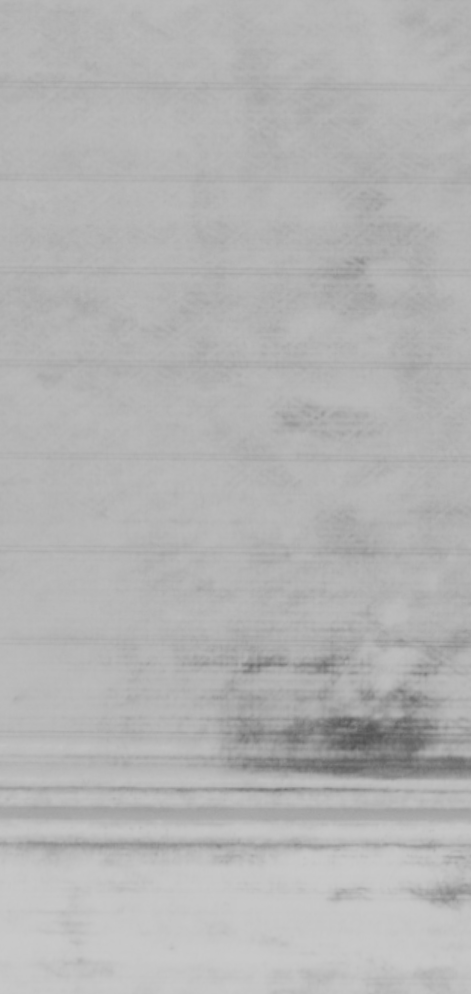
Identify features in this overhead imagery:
road: (235, 814)

